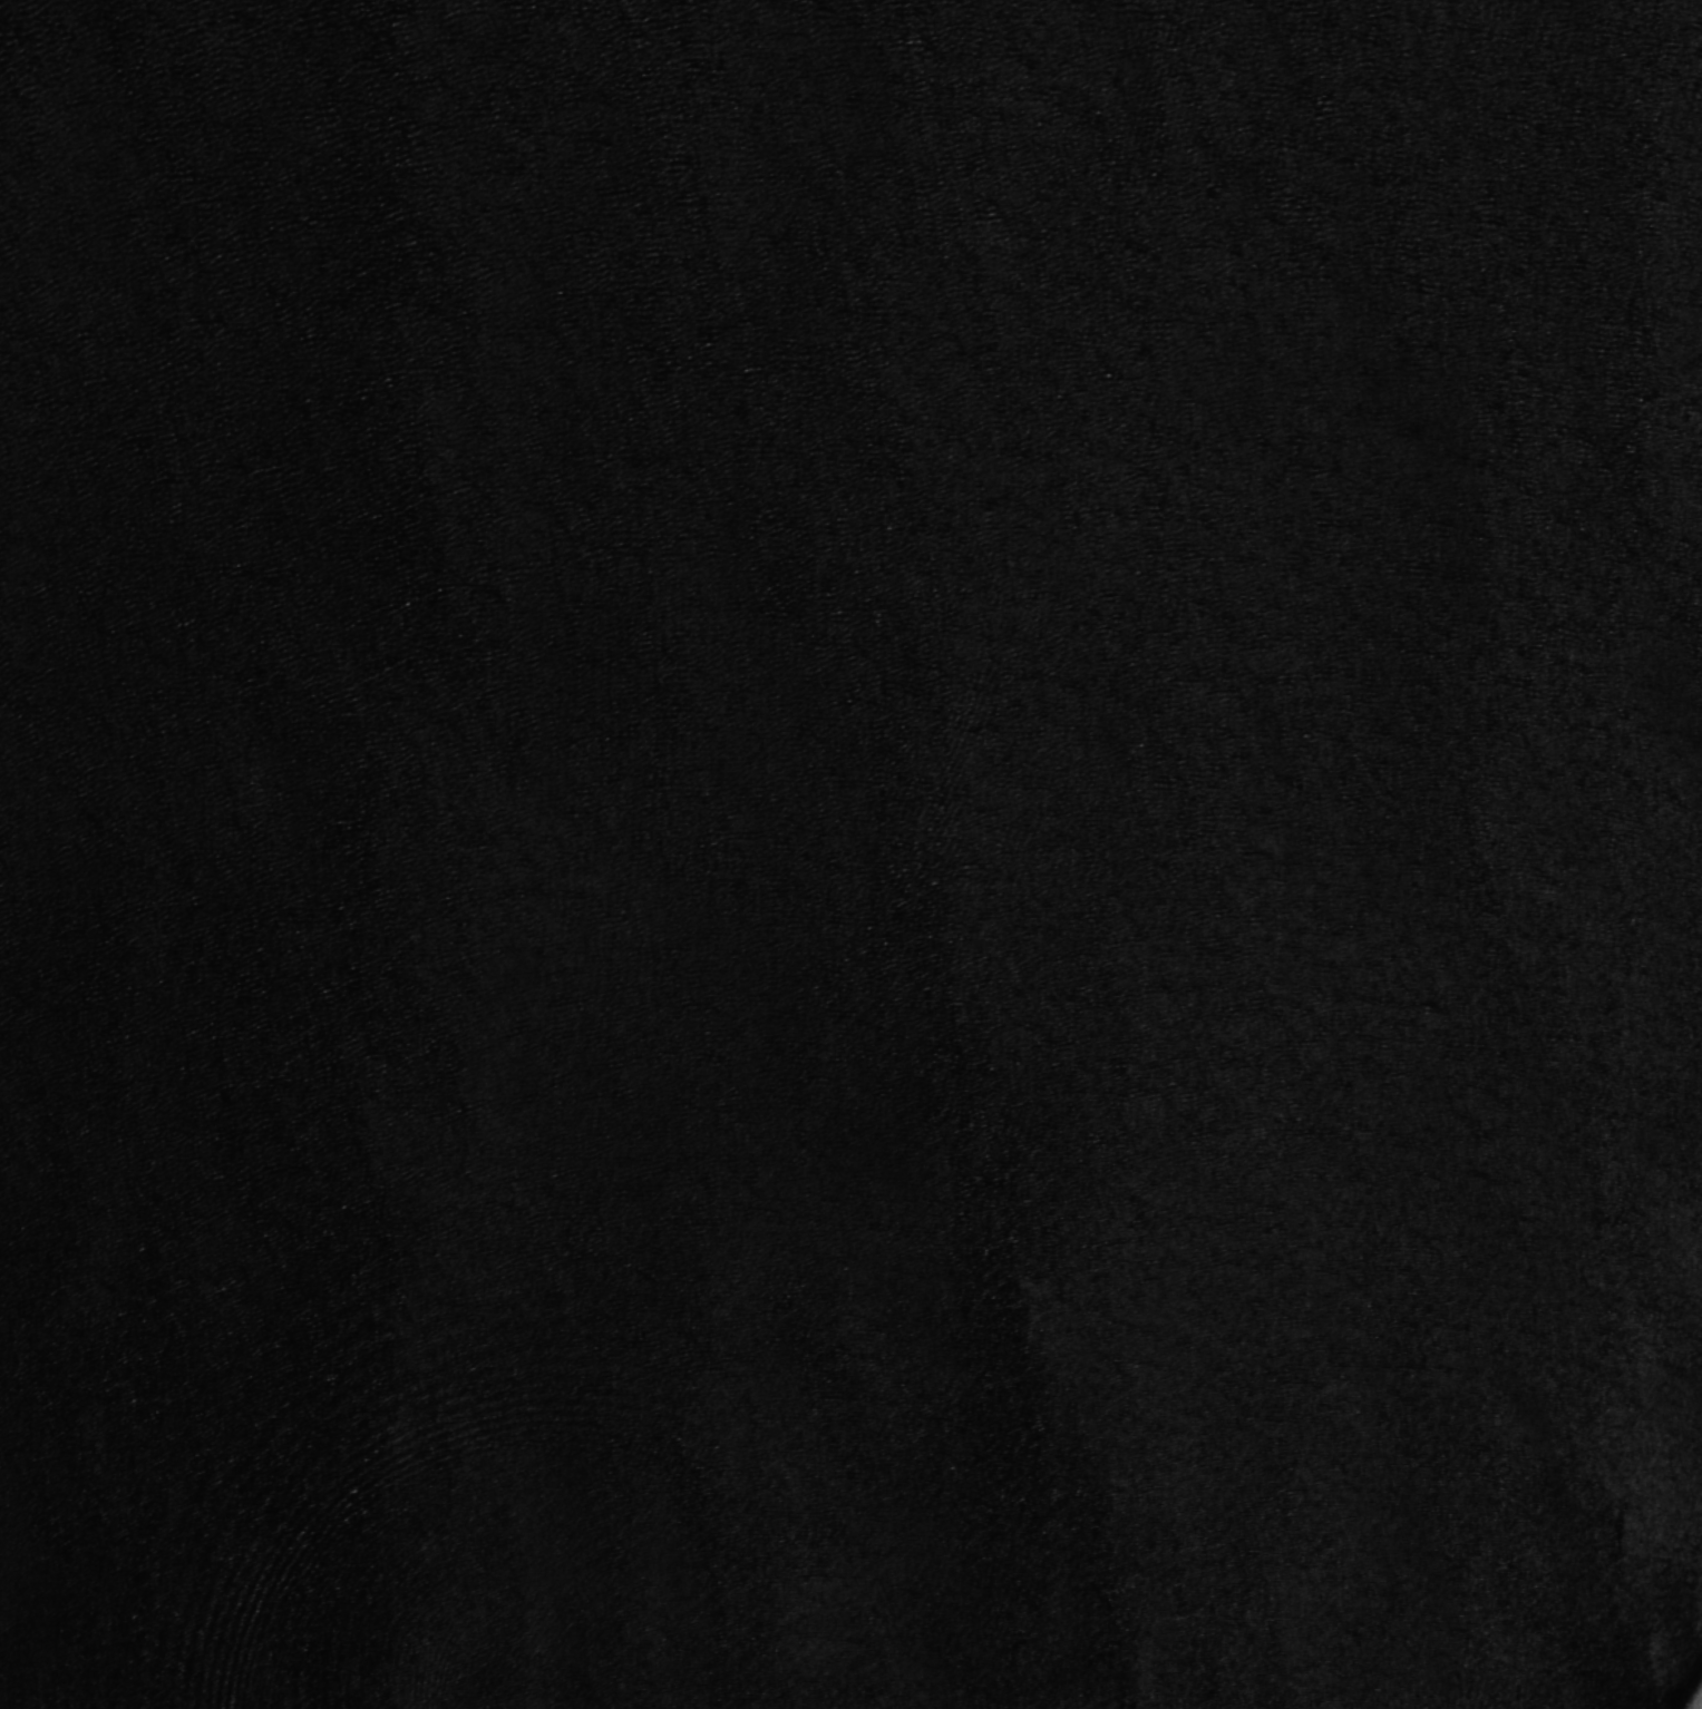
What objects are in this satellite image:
river: (1160, 96)
river: (416, 520)
park: (850, 854)

